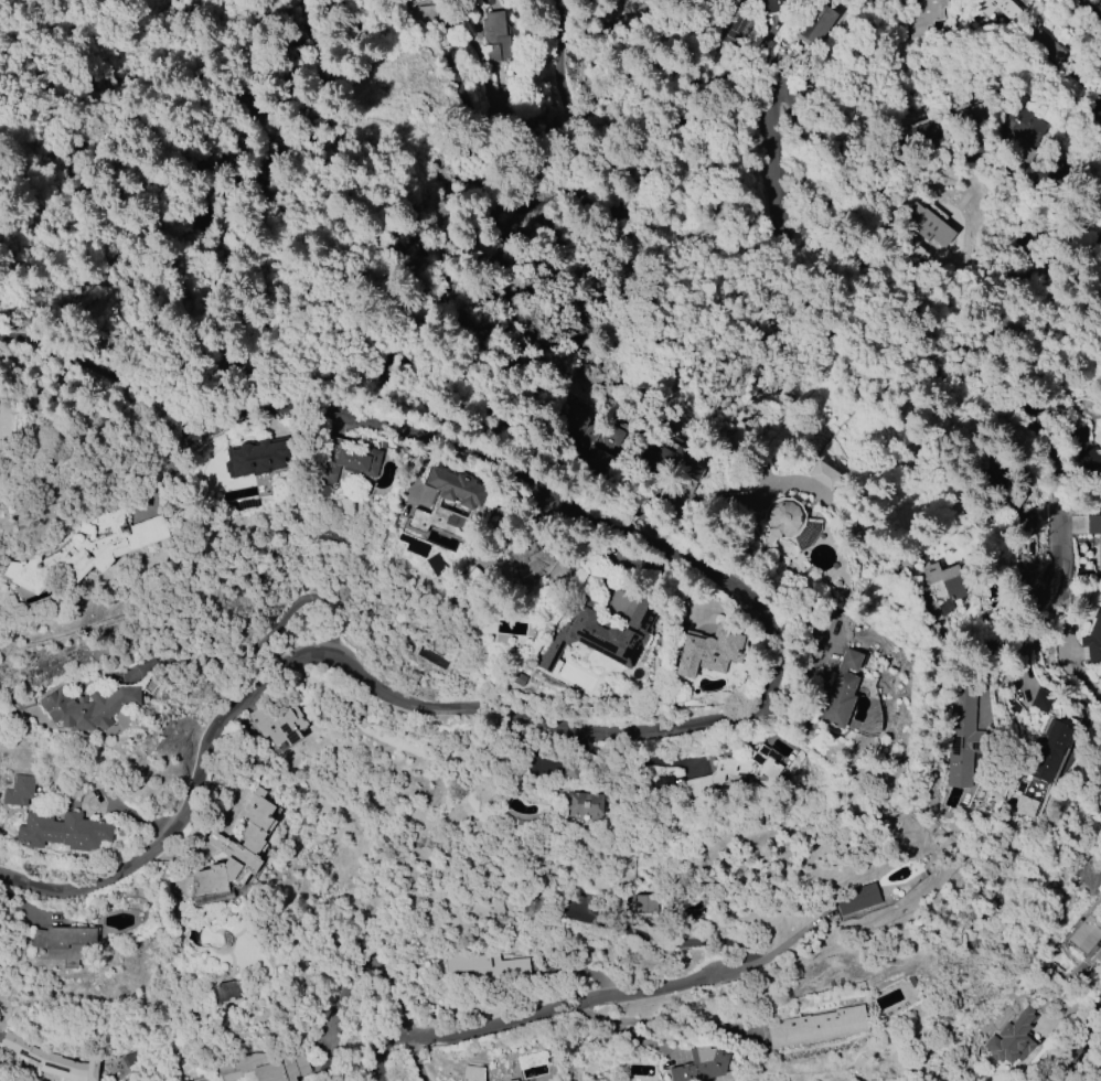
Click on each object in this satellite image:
building: (773, 6)
building: (995, 8)
building: (920, 14)
building: (816, 23)
road: (1081, 23)
building: (495, 38)
building: (1039, 39)
road: (645, 57)
building: (1092, 104)
building: (1020, 124)
building: (916, 129)
road: (942, 151)
road: (607, 205)
building: (919, 222)
road: (907, 302)
road: (354, 408)
building: (588, 437)
building: (256, 459)
building: (348, 459)
building: (1090, 460)
building: (672, 463)
building: (824, 474)
building: (452, 489)
building: (788, 524)
building: (458, 525)
building: (1094, 533)
building: (87, 552)
building: (534, 561)
building: (940, 581)
road: (1030, 607)
building: (603, 633)
road: (1068, 635)
building: (1092, 639)
road: (263, 643)
building: (706, 653)
building: (431, 659)
road: (806, 667)
building: (836, 692)
building: (1040, 699)
building: (87, 707)
road: (517, 715)
building: (278, 725)
building: (961, 736)
building: (1046, 749)
road: (624, 757)
building: (736, 771)
building: (19, 791)
building: (581, 804)
building: (1025, 805)
building: (64, 832)
building: (237, 848)
building: (855, 899)
building: (650, 903)
building: (1088, 930)
building: (65, 941)
road: (774, 956)
building: (485, 965)
building: (232, 991)
road: (526, 1016)
road: (678, 1024)
building: (816, 1027)
road: (626, 1030)
building: (1013, 1037)
road: (4, 1057)
road: (1088, 1058)
building: (52, 1060)
building: (702, 1064)
building: (533, 1067)
building: (267, 1068)
building: (472, 1073)
building: (513, 1080)
building: (520, 1080)

